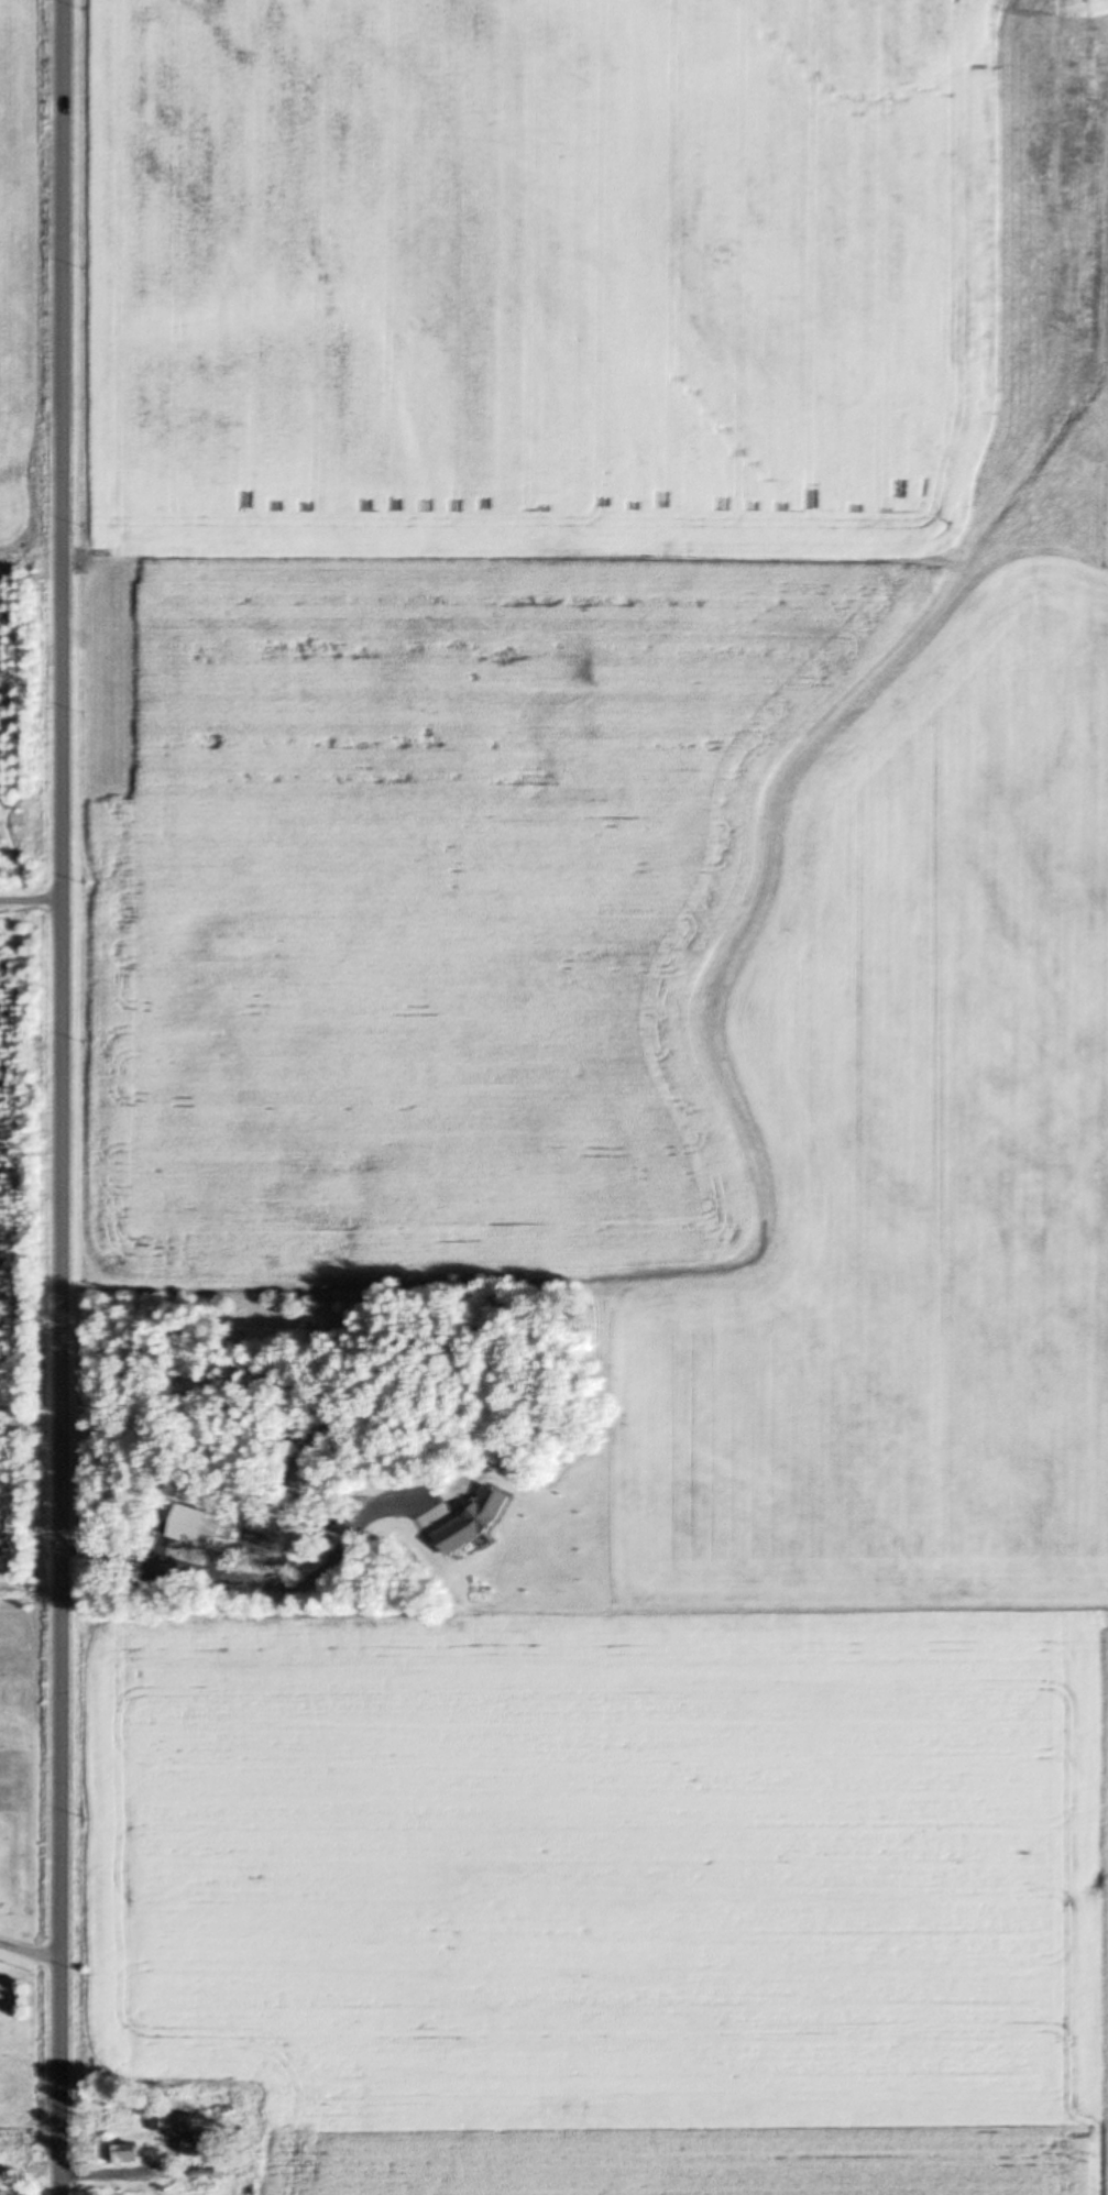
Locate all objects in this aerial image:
road: (31, 899)
road: (61, 1097)
building: (207, 2138)
building: (127, 2150)

